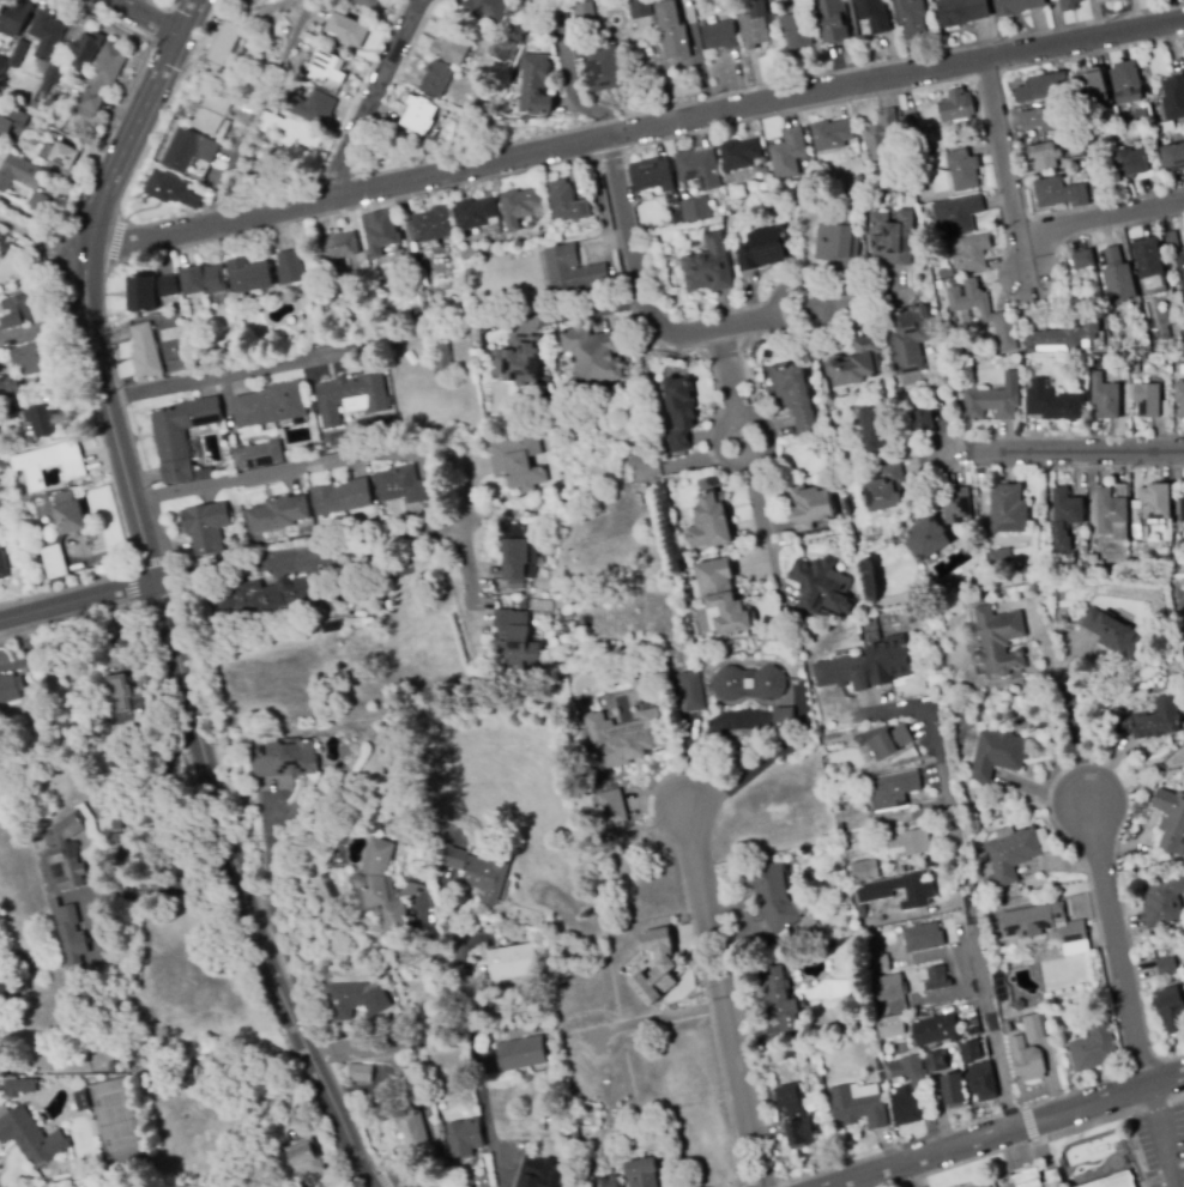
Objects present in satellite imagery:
building: (1047, 0)
building: (1101, 0)
building: (1116, 0)
building: (536, 2)
building: (368, 4)
building: (1069, 5)
road: (412, 6)
road: (419, 6)
building: (1016, 6)
building: (640, 7)
building: (493, 8)
building: (579, 10)
building: (961, 12)
building: (870, 13)
road: (145, 17)
building: (14, 18)
building: (910, 18)
building: (833, 19)
road: (110, 20)
building: (797, 30)
building: (346, 31)
building: (672, 31)
building: (753, 31)
building: (47, 36)
building: (720, 36)
building: (223, 44)
building: (452, 44)
building: (507, 44)
building: (86, 52)
building: (18, 54)
building: (7, 56)
building: (2, 65)
building: (326, 67)
building: (604, 71)
building: (53, 74)
road: (568, 74)
building: (103, 79)
building: (435, 79)
building: (1129, 83)
building: (536, 84)
building: (283, 85)
building: (46, 86)
building: (1044, 87)
building: (1091, 89)
building: (1173, 98)
road: (367, 105)
road: (164, 107)
building: (310, 107)
building: (956, 107)
road: (256, 110)
road: (793, 110)
building: (40, 111)
building: (1143, 111)
building: (213, 114)
building: (419, 115)
building: (1040, 120)
building: (10, 121)
building: (1166, 125)
building: (911, 126)
building: (290, 129)
road: (633, 132)
building: (1129, 134)
building: (881, 135)
building: (449, 137)
building: (836, 139)
building: (919, 147)
building: (191, 150)
building: (789, 153)
road: (610, 155)
building: (65, 156)
building: (743, 156)
building: (1044, 156)
building: (1172, 157)
building: (1130, 164)
building: (699, 169)
building: (805, 169)
building: (963, 170)
road: (1005, 171)
building: (651, 175)
building: (869, 177)
building: (860, 178)
building: (25, 182)
building: (171, 190)
building: (1061, 193)
building: (790, 195)
building: (567, 202)
building: (847, 204)
building: (520, 206)
building: (695, 208)
building: (476, 213)
building: (956, 216)
road: (1101, 220)
building: (367, 222)
building: (434, 224)
building: (382, 234)
building: (893, 237)
road: (41, 240)
road: (114, 240)
road: (204, 241)
building: (1171, 242)
building: (836, 244)
building: (338, 247)
building: (763, 249)
building: (467, 254)
building: (969, 254)
building: (526, 255)
building: (1148, 258)
building: (1083, 259)
building: (708, 267)
building: (290, 268)
building: (573, 271)
building: (1180, 271)
building: (248, 275)
building: (204, 280)
building: (1119, 284)
building: (168, 286)
building: (141, 295)
road: (646, 305)
building: (18, 310)
road: (588, 310)
building: (984, 313)
building: (430, 315)
building: (962, 319)
building: (908, 338)
building: (1063, 338)
building: (940, 346)
building: (145, 352)
building: (593, 356)
building: (32, 359)
building: (442, 359)
building: (520, 361)
building: (856, 363)
building: (1134, 364)
building: (967, 365)
building: (180, 367)
road: (236, 374)
building: (795, 392)
building: (10, 398)
building: (350, 398)
building: (1105, 398)
building: (1179, 398)
building: (993, 400)
building: (1147, 400)
building: (1052, 402)
building: (270, 405)
building: (681, 410)
building: (1164, 410)
building: (919, 417)
building: (43, 420)
building: (349, 424)
building: (877, 426)
building: (182, 435)
road: (745, 437)
building: (912, 449)
road: (1077, 452)
building: (258, 455)
building: (519, 462)
building: (50, 465)
road: (273, 470)
building: (403, 486)
building: (886, 489)
building: (342, 497)
building: (956, 505)
building: (811, 509)
building: (1008, 509)
building: (1149, 509)
building: (1182, 509)
building: (1110, 510)
building: (277, 514)
building: (708, 519)
building: (1065, 519)
building: (206, 527)
building: (62, 534)
building: (928, 539)
road: (342, 544)
building: (1164, 546)
building: (514, 552)
building: (999, 558)
building: (1091, 564)
building: (2, 565)
road: (128, 567)
building: (531, 571)
building: (1025, 575)
building: (349, 576)
building: (997, 580)
road: (62, 587)
building: (821, 588)
road: (158, 594)
building: (720, 595)
building: (264, 596)
road: (77, 600)
road: (1182, 610)
road: (67, 620)
building: (871, 629)
building: (1114, 635)
building: (807, 637)
building: (517, 640)
building: (998, 641)
road: (28, 648)
building: (888, 661)
building: (841, 673)
building: (750, 684)
building: (10, 689)
building: (687, 692)
building: (126, 705)
building: (784, 715)
road: (1067, 715)
building: (1152, 721)
building: (1020, 725)
building: (621, 732)
building: (889, 743)
building: (996, 755)
building: (285, 759)
building: (928, 776)
building: (893, 789)
building: (610, 806)
road: (174, 814)
building: (1171, 819)
building: (116, 825)
building: (72, 826)
building: (115, 838)
building: (1045, 840)
building: (908, 843)
building: (853, 846)
building: (1011, 856)
building: (67, 868)
building: (865, 871)
building: (481, 873)
building: (815, 877)
building: (386, 888)
building: (876, 890)
building: (773, 898)
building: (1162, 902)
building: (815, 914)
building: (1032, 920)
road: (972, 921)
building: (70, 933)
building: (1074, 933)
building: (923, 938)
building: (870, 944)
road: (1112, 944)
building: (767, 961)
building: (876, 961)
building: (513, 962)
building: (665, 967)
building: (1167, 968)
building: (937, 980)
building: (11, 989)
building: (888, 991)
road: (723, 997)
building: (356, 999)
building: (778, 1001)
building: (1019, 1005)
building: (1172, 1010)
building: (889, 1026)
building: (1007, 1026)
building: (1034, 1026)
building: (936, 1030)
road: (418, 1037)
building: (973, 1044)
building: (1094, 1047)
building: (952, 1048)
building: (521, 1054)
road: (1172, 1058)
building: (931, 1059)
building: (1026, 1059)
road: (1142, 1066)
building: (116, 1067)
building: (361, 1073)
building: (818, 1077)
building: (881, 1078)
building: (981, 1083)
building: (555, 1086)
building: (20, 1088)
building: (949, 1089)
building: (907, 1090)
road: (1074, 1090)
road: (1176, 1095)
building: (368, 1101)
road: (1154, 1102)
building: (857, 1108)
building: (793, 1118)
road: (1028, 1124)
building: (530, 1127)
building: (557, 1130)
building: (415, 1131)
building: (574, 1131)
road: (1009, 1131)
road: (1159, 1137)
building: (32, 1138)
building: (466, 1138)
road: (493, 1138)
road: (1011, 1147)
road: (1130, 1150)
building: (303, 1158)
building: (644, 1173)
building: (548, 1176)
building: (1027, 1177)
building: (1111, 1181)
building: (604, 1182)
road: (371, 1185)

